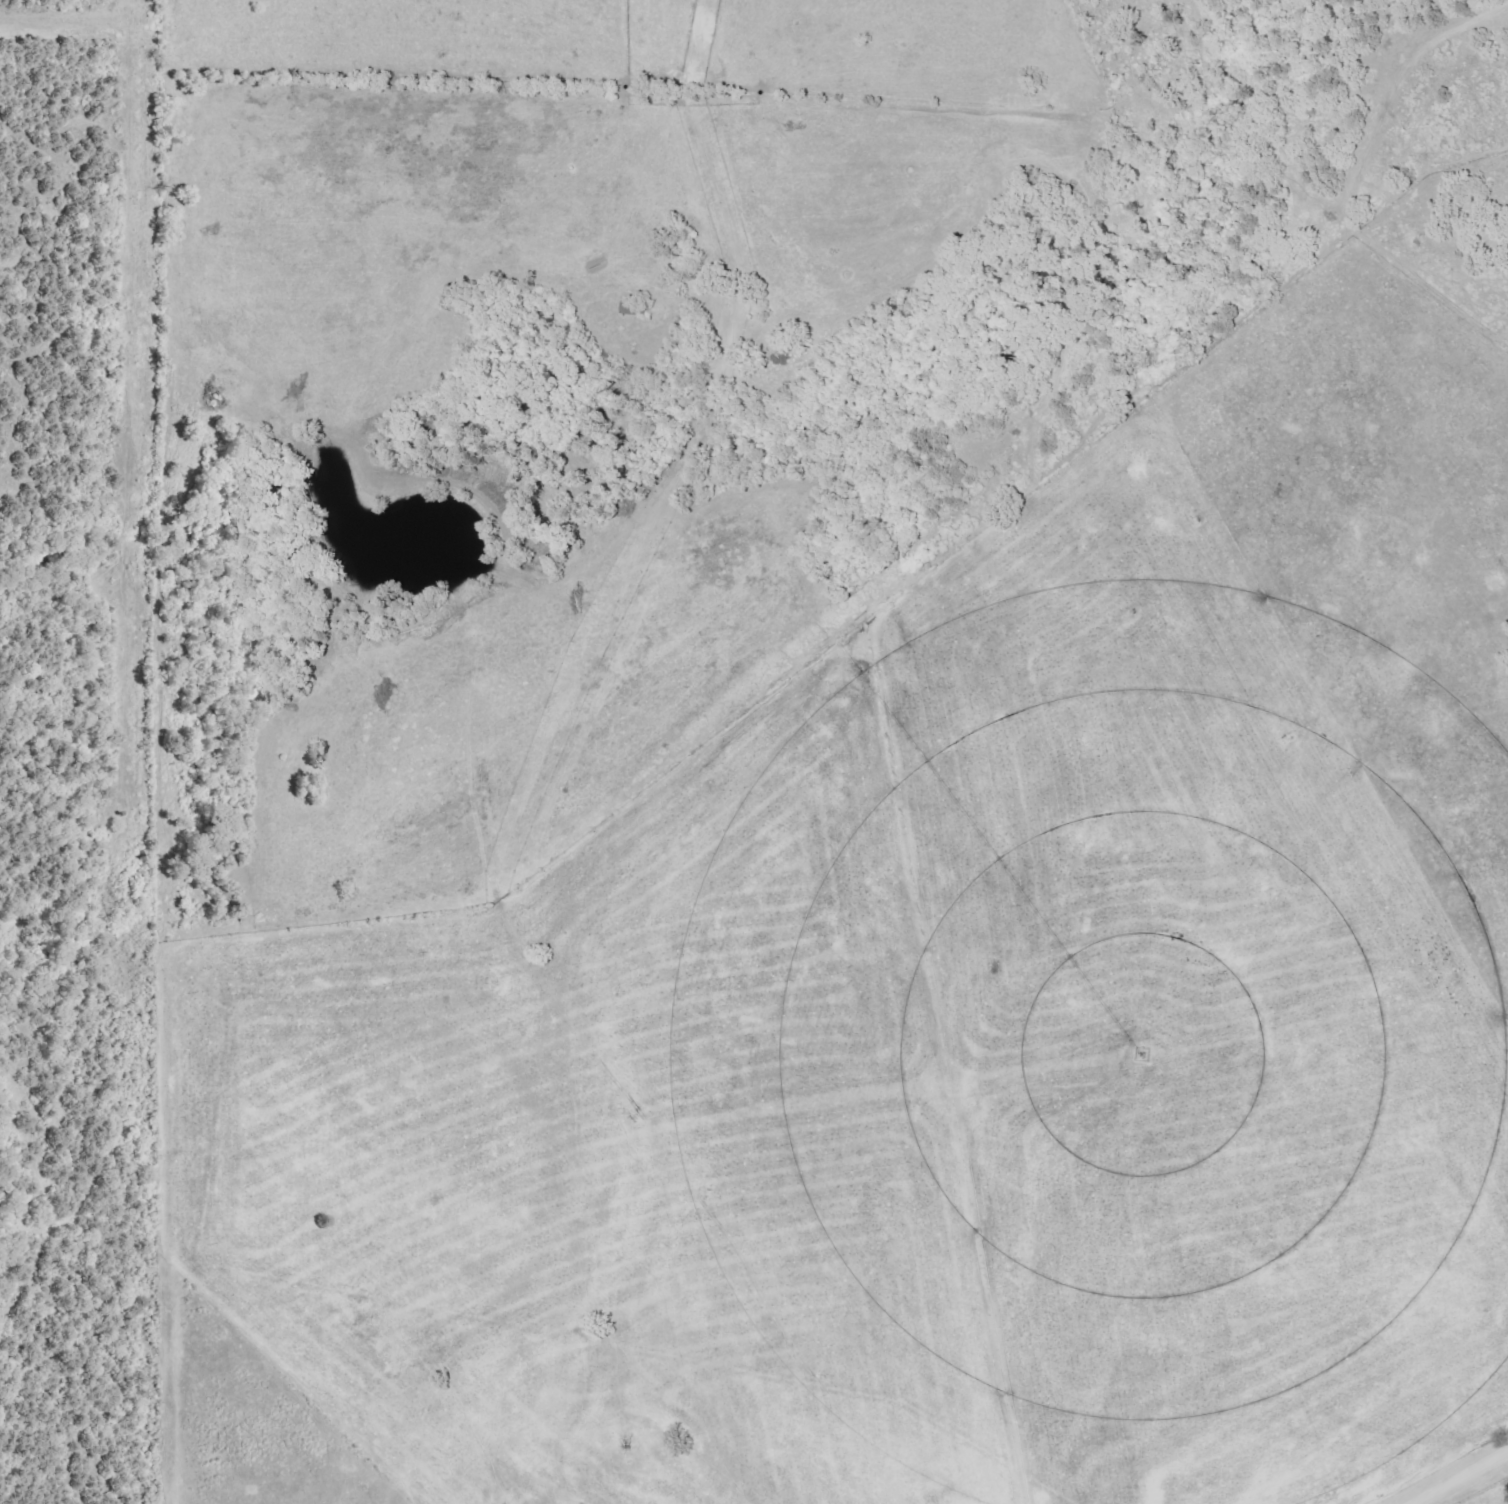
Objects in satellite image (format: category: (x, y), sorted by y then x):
road: (1468, 1483)

